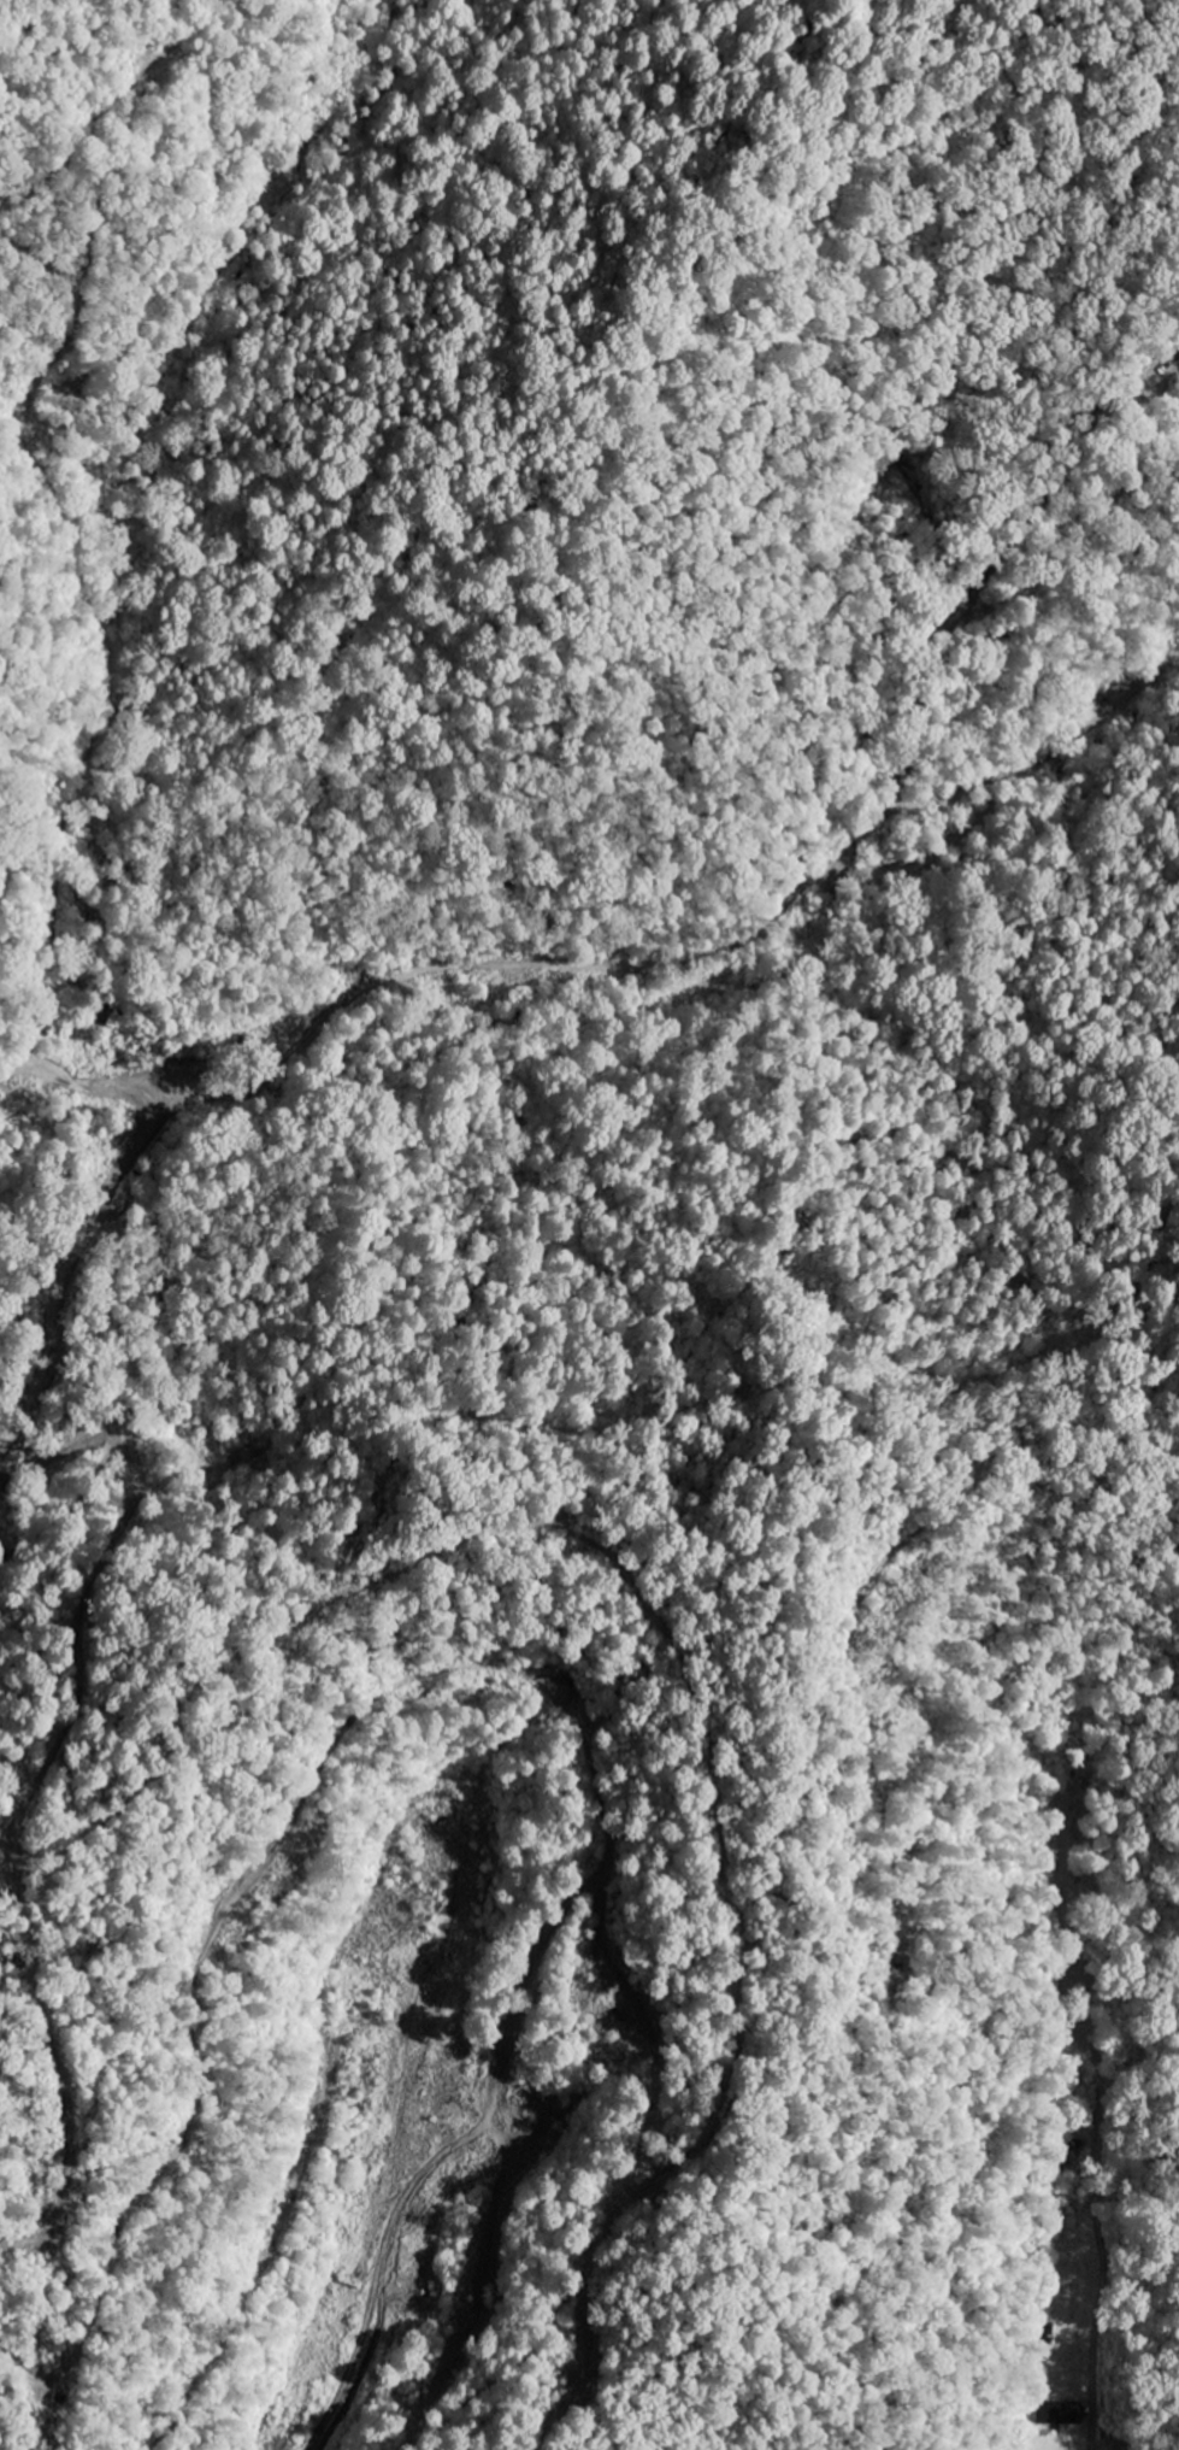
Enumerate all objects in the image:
road: (1051, 2056)
building: (1057, 2414)

